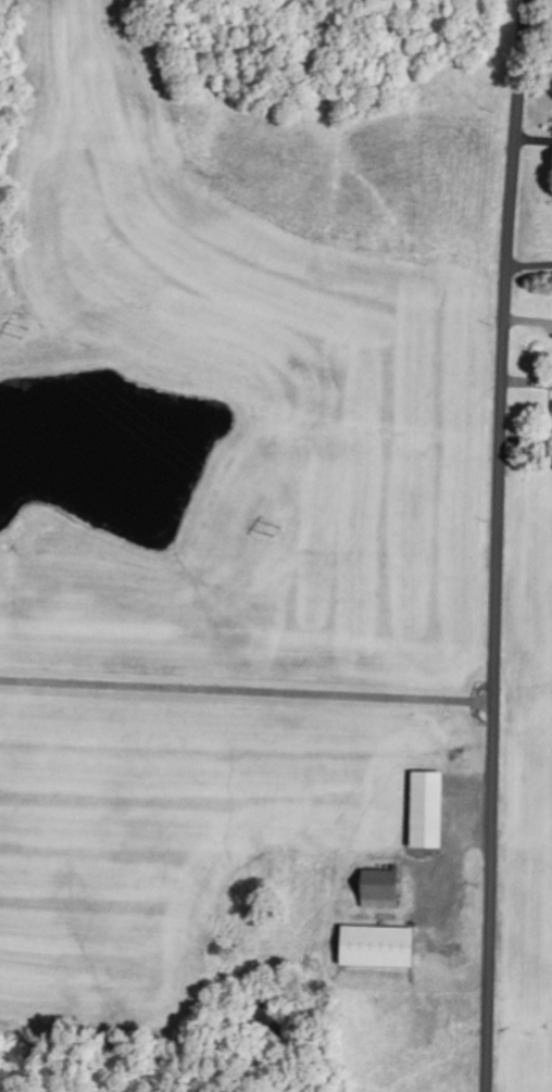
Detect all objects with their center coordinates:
power tower: (20, 337)
power tower: (278, 534)
road: (500, 545)
building: (430, 809)
building: (384, 890)
building: (381, 946)

